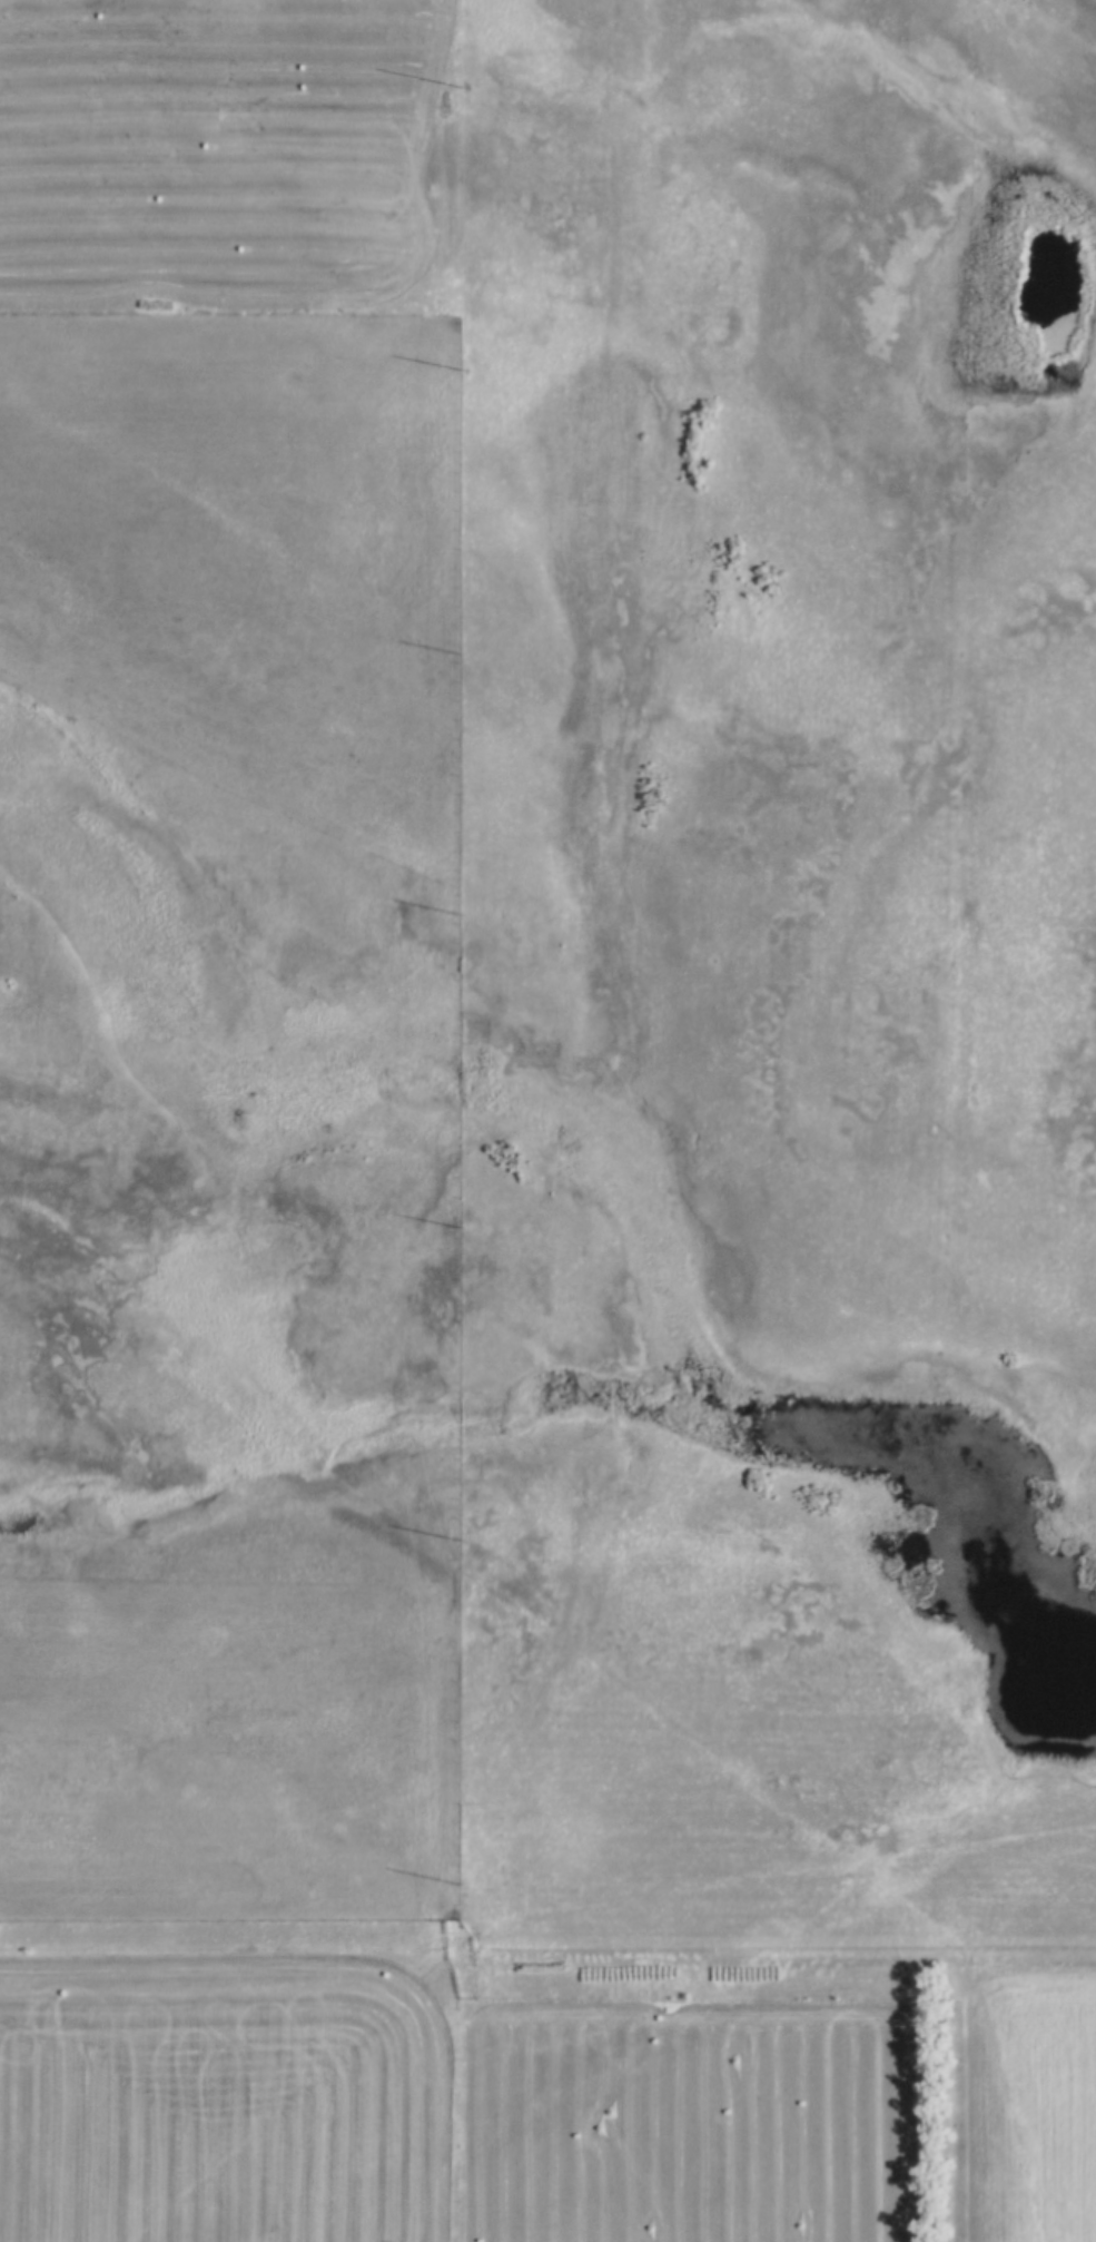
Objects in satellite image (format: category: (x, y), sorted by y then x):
road: (448, 1841)

